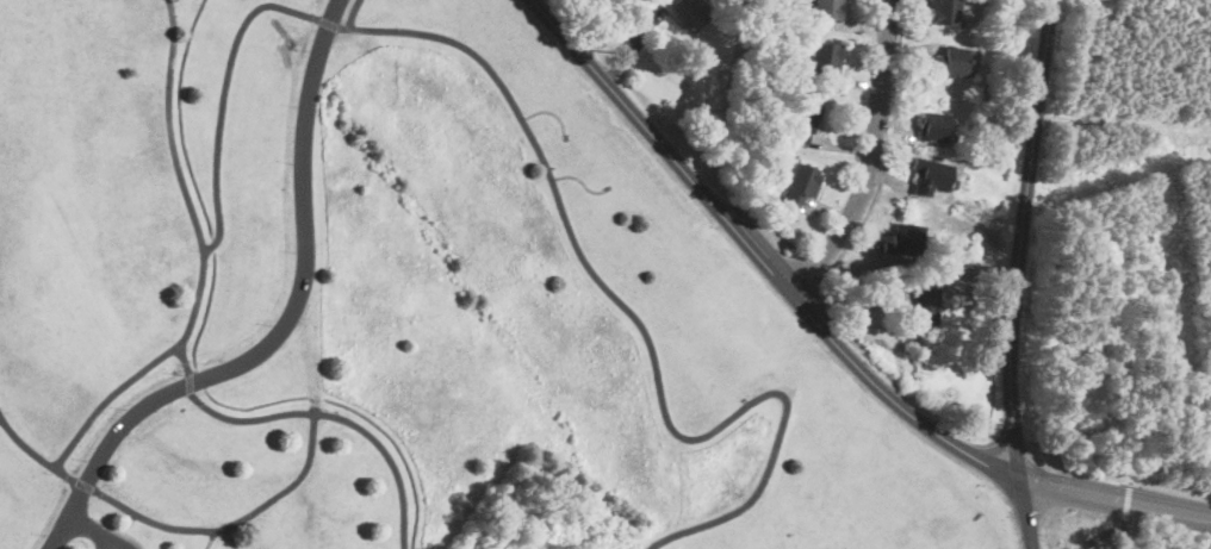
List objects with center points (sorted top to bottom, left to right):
building: (826, 8)
building: (688, 11)
building: (942, 12)
road: (355, 14)
building: (824, 58)
building: (955, 62)
road: (549, 111)
building: (801, 120)
road: (168, 126)
building: (930, 126)
road: (887, 150)
road: (871, 156)
road: (579, 177)
building: (927, 177)
building: (799, 182)
road: (551, 185)
road: (1020, 238)
building: (902, 239)
road: (759, 257)
park: (408, 306)
building: (926, 308)
road: (277, 327)
road: (119, 388)
road: (313, 413)
road: (1168, 488)
road: (1128, 499)
road: (1116, 501)
road: (1029, 513)
road: (215, 523)
road: (94, 525)
road: (123, 530)
road: (1105, 534)
road: (212, 535)
road: (101, 539)

